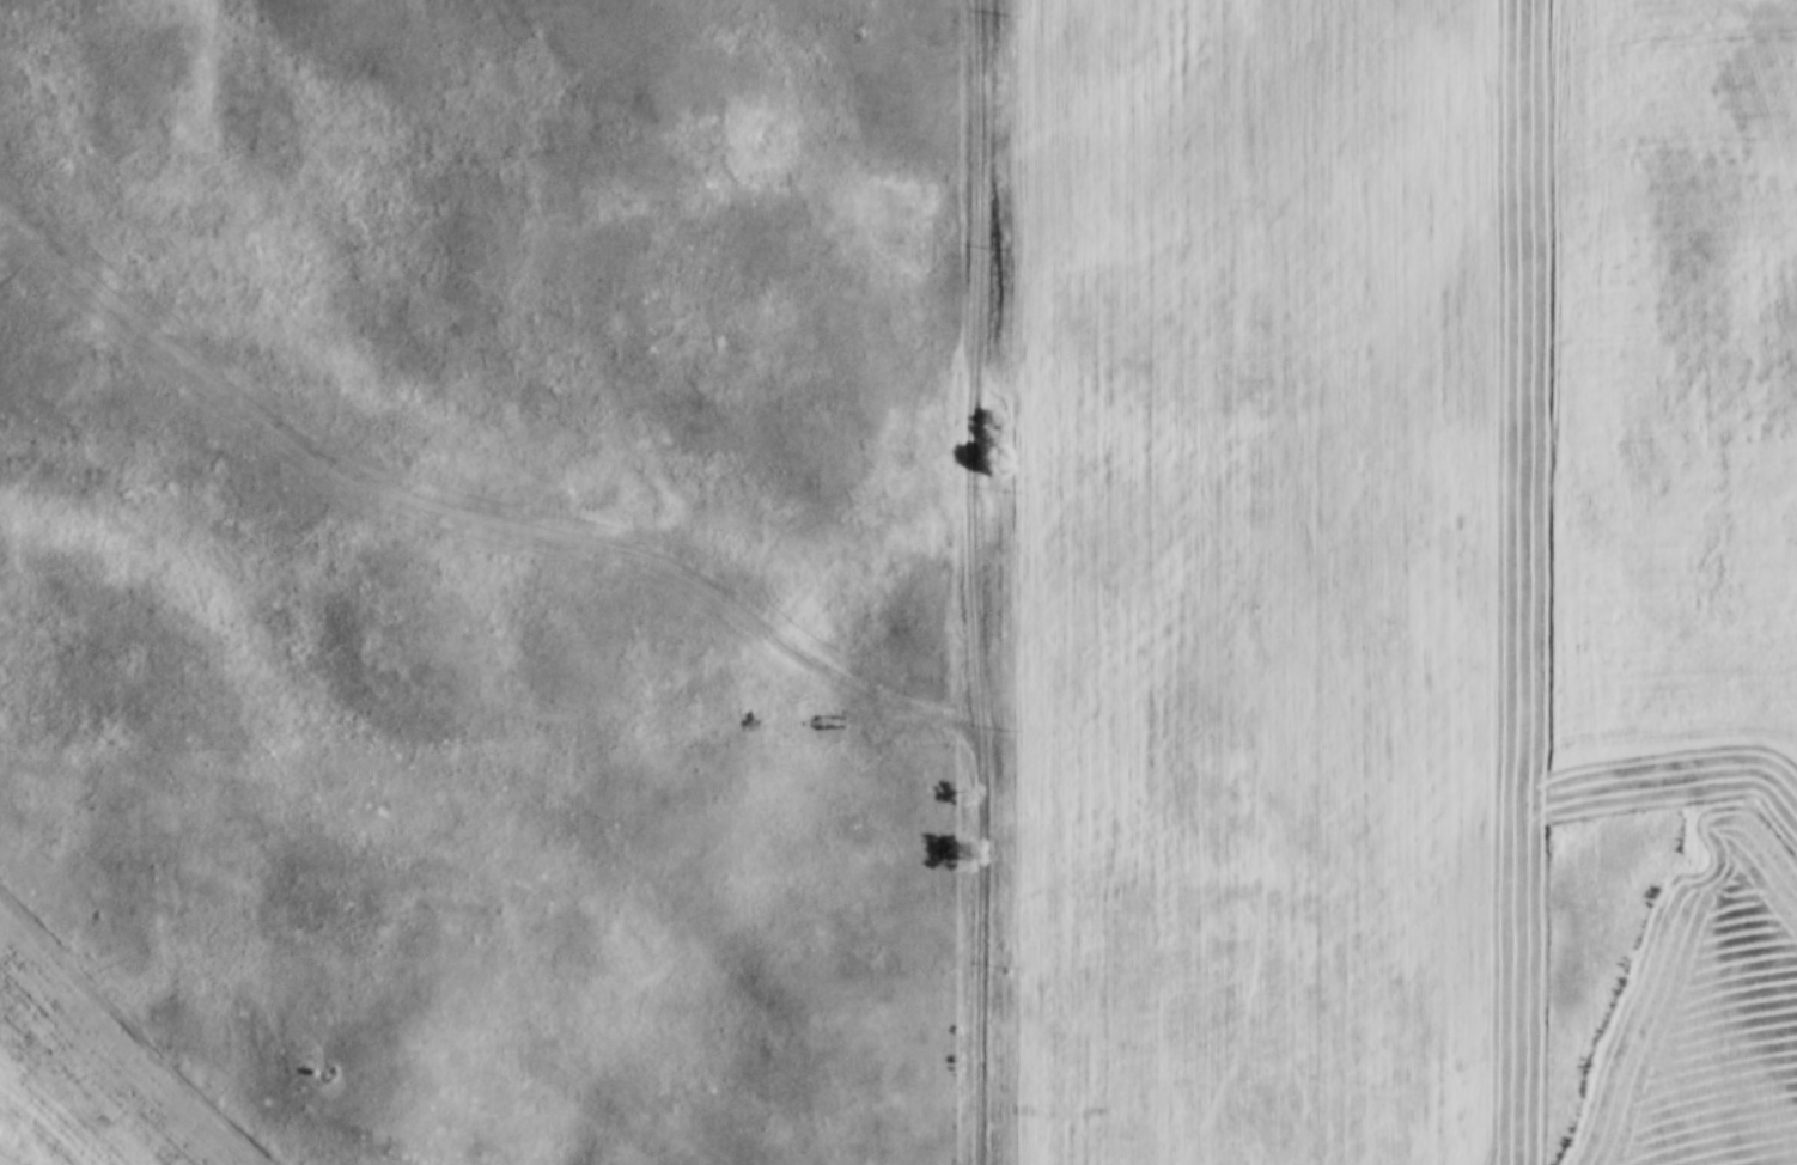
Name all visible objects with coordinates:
road: (461, 511)
road: (962, 582)

